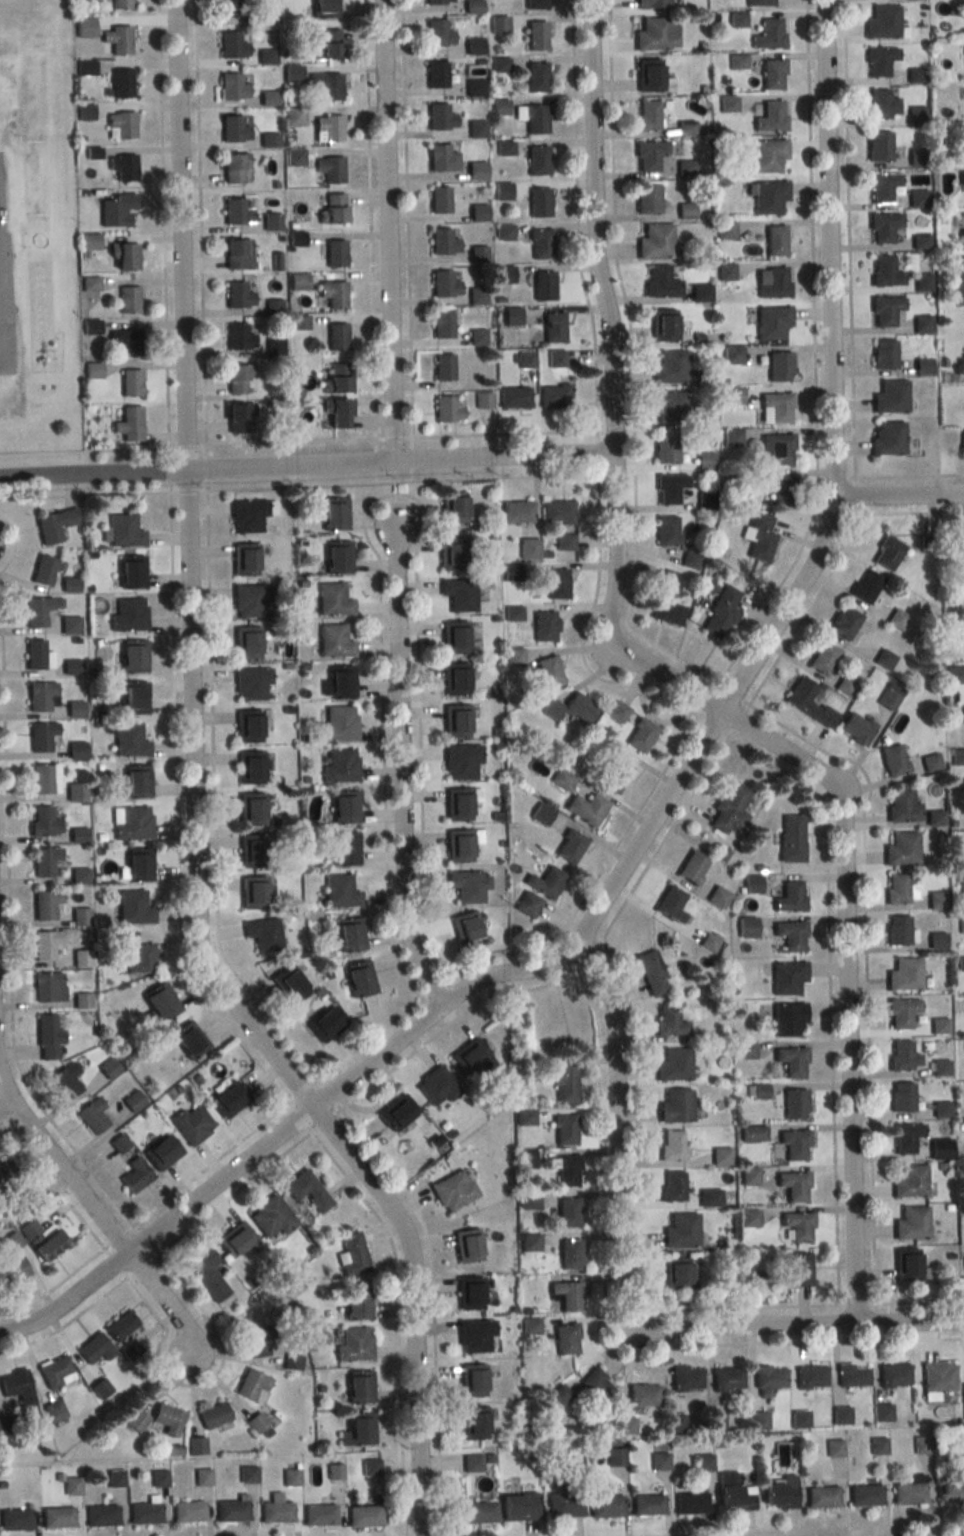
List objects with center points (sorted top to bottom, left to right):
building: (438, 1)
building: (652, 3)
building: (758, 3)
building: (120, 4)
building: (535, 4)
building: (231, 8)
building: (324, 8)
building: (881, 22)
building: (499, 25)
building: (83, 27)
building: (439, 34)
building: (657, 34)
building: (768, 34)
building: (537, 35)
building: (117, 39)
building: (326, 43)
building: (231, 45)
building: (474, 46)
building: (266, 57)
building: (877, 60)
building: (292, 74)
building: (436, 74)
building: (772, 74)
building: (648, 75)
building: (537, 78)
building: (120, 83)
building: (325, 85)
building: (232, 87)
building: (475, 88)
building: (881, 105)
building: (294, 116)
building: (647, 116)
building: (915, 116)
building: (771, 117)
building: (440, 118)
building: (535, 118)
building: (119, 125)
building: (233, 129)
building: (327, 129)
building: (477, 129)
building: (688, 129)
building: (878, 146)
building: (504, 148)
building: (649, 155)
building: (768, 156)
building: (916, 157)
building: (442, 159)
building: (538, 160)
building: (122, 167)
building: (686, 168)
building: (233, 169)
building: (330, 169)
building: (477, 171)
building: (961, 178)
building: (882, 187)
building: (503, 192)
building: (769, 197)
building: (916, 198)
building: (647, 199)
building: (439, 200)
building: (540, 201)
building: (333, 208)
building: (114, 209)
building: (234, 211)
building: (478, 212)
road: (580, 215)
road: (408, 218)
road: (371, 219)
building: (270, 222)
road: (164, 223)
road: (200, 223)
road: (387, 227)
building: (882, 227)
building: (962, 237)
road: (850, 238)
building: (775, 240)
building: (88, 241)
building: (919, 241)
building: (443, 242)
building: (655, 242)
building: (541, 244)
building: (335, 253)
building: (236, 254)
building: (122, 256)
building: (883, 271)
building: (922, 281)
building: (661, 282)
building: (775, 283)
building: (445, 284)
building: (958, 284)
building: (543, 285)
building: (701, 292)
building: (331, 294)
building: (238, 295)
building: (477, 296)
building: (127, 299)
building: (884, 310)
building: (772, 322)
building: (443, 324)
building: (921, 324)
building: (664, 325)
building: (554, 327)
building: (238, 336)
building: (337, 336)
building: (478, 337)
building: (126, 341)
building: (732, 354)
building: (883, 354)
building: (526, 359)
building: (556, 359)
building: (443, 366)
building: (779, 366)
building: (922, 366)
road: (633, 367)
building: (673, 368)
building: (237, 377)
building: (334, 377)
building: (130, 382)
building: (554, 395)
building: (890, 397)
building: (514, 398)
building: (484, 400)
building: (668, 405)
building: (775, 407)
building: (447, 409)
building: (336, 411)
building: (238, 416)
building: (127, 424)
road: (506, 432)
road: (395, 436)
building: (887, 438)
road: (291, 442)
building: (961, 442)
road: (188, 446)
building: (665, 448)
building: (776, 449)
road: (599, 451)
road: (414, 458)
building: (705, 459)
road: (305, 460)
road: (377, 460)
road: (207, 467)
road: (171, 469)
road: (507, 476)
road: (910, 476)
road: (405, 480)
road: (302, 485)
road: (396, 487)
building: (669, 487)
road: (190, 490)
building: (783, 491)
road: (85, 495)
road: (856, 495)
road: (898, 498)
building: (454, 507)
building: (517, 512)
building: (557, 512)
building: (334, 513)
road: (909, 514)
building: (248, 517)
building: (54, 525)
building: (667, 530)
building: (124, 532)
building: (759, 539)
building: (565, 542)
building: (928, 543)
building: (887, 553)
building: (452, 555)
building: (338, 557)
building: (244, 560)
building: (43, 570)
building: (131, 571)
building: (671, 579)
building: (557, 583)
building: (70, 584)
building: (865, 586)
building: (460, 594)
building: (249, 600)
building: (333, 600)
building: (36, 611)
building: (668, 611)
road: (808, 611)
building: (721, 613)
building: (129, 614)
building: (896, 619)
building: (844, 622)
building: (69, 624)
building: (545, 625)
road: (586, 633)
building: (454, 637)
building: (246, 642)
building: (334, 642)
building: (37, 655)
building: (133, 655)
building: (823, 657)
building: (884, 659)
building: (71, 666)
building: (549, 671)
building: (955, 674)
building: (455, 679)
building: (339, 682)
building: (251, 683)
building: (845, 685)
road: (680, 687)
road: (735, 693)
road: (419, 694)
building: (40, 695)
building: (134, 697)
road: (708, 699)
building: (887, 700)
building: (808, 702)
building: (571, 707)
building: (75, 709)
road: (740, 719)
building: (456, 721)
building: (338, 724)
building: (248, 725)
road: (713, 726)
building: (634, 727)
building: (855, 728)
building: (43, 737)
building: (129, 741)
building: (597, 741)
building: (76, 750)
building: (957, 757)
building: (893, 760)
building: (462, 761)
building: (930, 762)
building: (340, 765)
road: (385, 767)
building: (249, 768)
road: (404, 769)
building: (615, 777)
building: (45, 778)
building: (136, 781)
building: (75, 792)
road: (216, 800)
road: (192, 802)
building: (458, 804)
building: (902, 806)
building: (344, 807)
building: (251, 809)
building: (587, 809)
building: (730, 809)
road: (658, 812)
road: (180, 813)
building: (541, 813)
building: (43, 822)
building: (131, 823)
building: (791, 838)
building: (459, 846)
building: (570, 846)
building: (346, 848)
building: (901, 849)
building: (251, 850)
building: (45, 861)
building: (138, 865)
building: (692, 867)
building: (79, 876)
road: (598, 877)
building: (546, 882)
road: (10, 884)
building: (752, 884)
building: (469, 886)
building: (898, 888)
building: (340, 891)
building: (252, 892)
building: (718, 897)
building: (790, 897)
building: (45, 904)
building: (670, 904)
building: (528, 905)
building: (134, 908)
building: (80, 916)
building: (747, 927)
building: (466, 928)
building: (897, 930)
building: (350, 933)
building: (263, 934)
building: (791, 935)
building: (710, 941)
building: (44, 944)
building: (81, 958)
building: (141, 959)
road: (868, 968)
building: (651, 973)
building: (904, 975)
building: (359, 978)
building: (788, 978)
building: (291, 985)
building: (48, 987)
road: (437, 987)
road: (832, 993)
building: (82, 1001)
road: (631, 1001)
building: (160, 1002)
building: (901, 1013)
building: (788, 1020)
road: (451, 1022)
building: (669, 1022)
building: (324, 1024)
building: (47, 1038)
road: (370, 1038)
building: (189, 1040)
building: (473, 1057)
building: (903, 1057)
building: (791, 1062)
building: (674, 1065)
building: (65, 1080)
building: (566, 1080)
building: (437, 1086)
road: (304, 1090)
road: (330, 1093)
building: (901, 1097)
building: (229, 1098)
building: (133, 1101)
building: (794, 1104)
building: (675, 1106)
road: (7, 1112)
building: (396, 1112)
building: (92, 1115)
road: (300, 1117)
road: (5, 1118)
road: (326, 1120)
building: (192, 1123)
building: (565, 1129)
road: (6, 1130)
road: (615, 1133)
building: (904, 1137)
building: (118, 1143)
building: (671, 1145)
building: (794, 1145)
building: (161, 1152)
road: (211, 1163)
building: (568, 1171)
building: (135, 1175)
building: (6, 1177)
building: (909, 1182)
building: (673, 1186)
building: (793, 1186)
road: (57, 1187)
building: (307, 1191)
building: (454, 1191)
road: (234, 1193)
building: (709, 1198)
road: (96, 1213)
building: (568, 1213)
building: (271, 1218)
building: (911, 1224)
building: (797, 1227)
building: (681, 1232)
road: (118, 1235)
road: (145, 1238)
building: (42, 1239)
building: (234, 1239)
building: (12, 1241)
building: (467, 1246)
building: (570, 1255)
building: (352, 1256)
road: (115, 1261)
building: (905, 1264)
road: (142, 1265)
building: (797, 1270)
building: (12, 1272)
building: (678, 1274)
building: (206, 1275)
road: (55, 1287)
building: (469, 1293)
building: (567, 1296)
road: (920, 1300)
building: (357, 1303)
road: (857, 1303)
road: (739, 1306)
road: (68, 1322)
building: (121, 1325)
road: (796, 1329)
building: (475, 1336)
road: (597, 1337)
building: (566, 1340)
building: (258, 1341)
building: (354, 1345)
building: (95, 1349)
building: (129, 1349)
building: (292, 1362)
building: (56, 1372)
building: (852, 1375)
building: (893, 1375)
building: (810, 1376)
building: (937, 1376)
building: (686, 1378)
building: (727, 1379)
building: (768, 1379)
building: (472, 1381)
building: (251, 1384)
building: (596, 1385)
building: (358, 1387)
building: (101, 1388)
building: (19, 1391)
building: (643, 1395)
building: (54, 1410)
building: (840, 1414)
building: (214, 1415)
building: (799, 1418)
building: (167, 1419)
building: (137, 1421)
building: (257, 1423)
building: (473, 1423)
building: (357, 1429)
building: (921, 1444)
building: (878, 1445)
building: (196, 1446)
building: (834, 1447)
building: (615, 1456)
building: (659, 1461)
building: (703, 1462)
building: (370, 1466)
building: (203, 1474)
building: (159, 1478)
building: (291, 1478)
building: (950, 1491)
building: (733, 1492)
building: (779, 1493)
building: (908, 1493)
building: (864, 1495)
building: (821, 1497)
building: (690, 1503)
building: (563, 1505)
building: (646, 1505)
building: (518, 1506)
building: (605, 1506)
building: (276, 1510)
building: (188, 1511)
building: (232, 1511)
building: (479, 1512)
building: (144, 1513)
building: (319, 1514)
building: (101, 1515)
building: (363, 1515)
building: (57, 1517)
building: (15, 1519)
road: (813, 1529)

